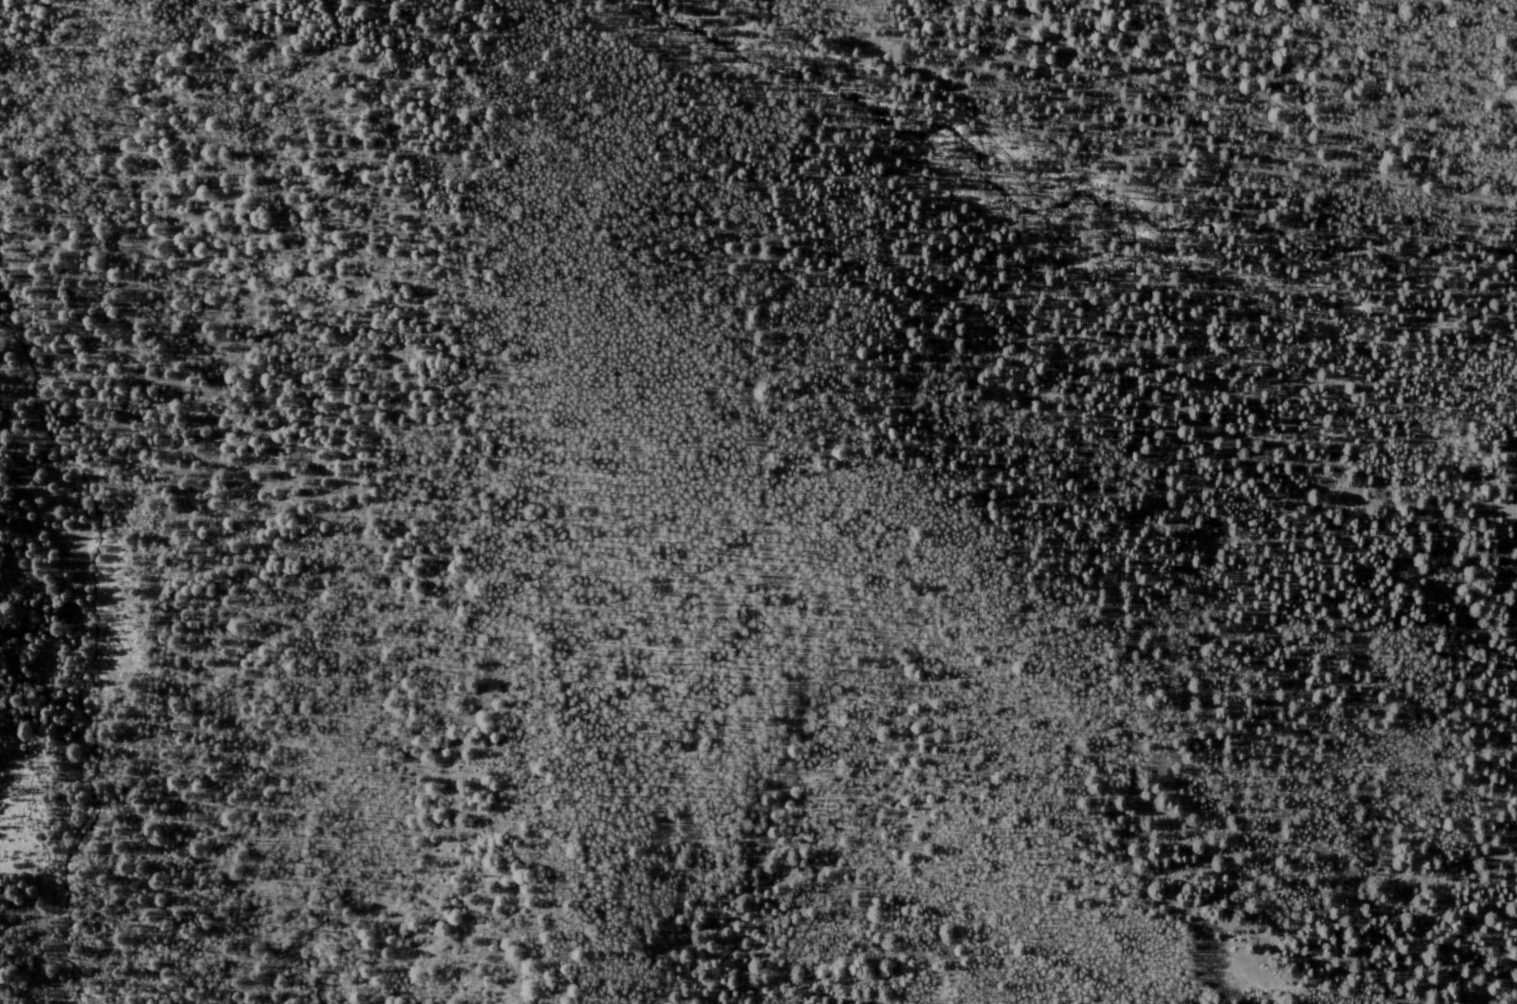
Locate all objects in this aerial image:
road: (1277, 150)
road: (1490, 212)
road: (787, 370)
river: (77, 666)
road: (1316, 992)

